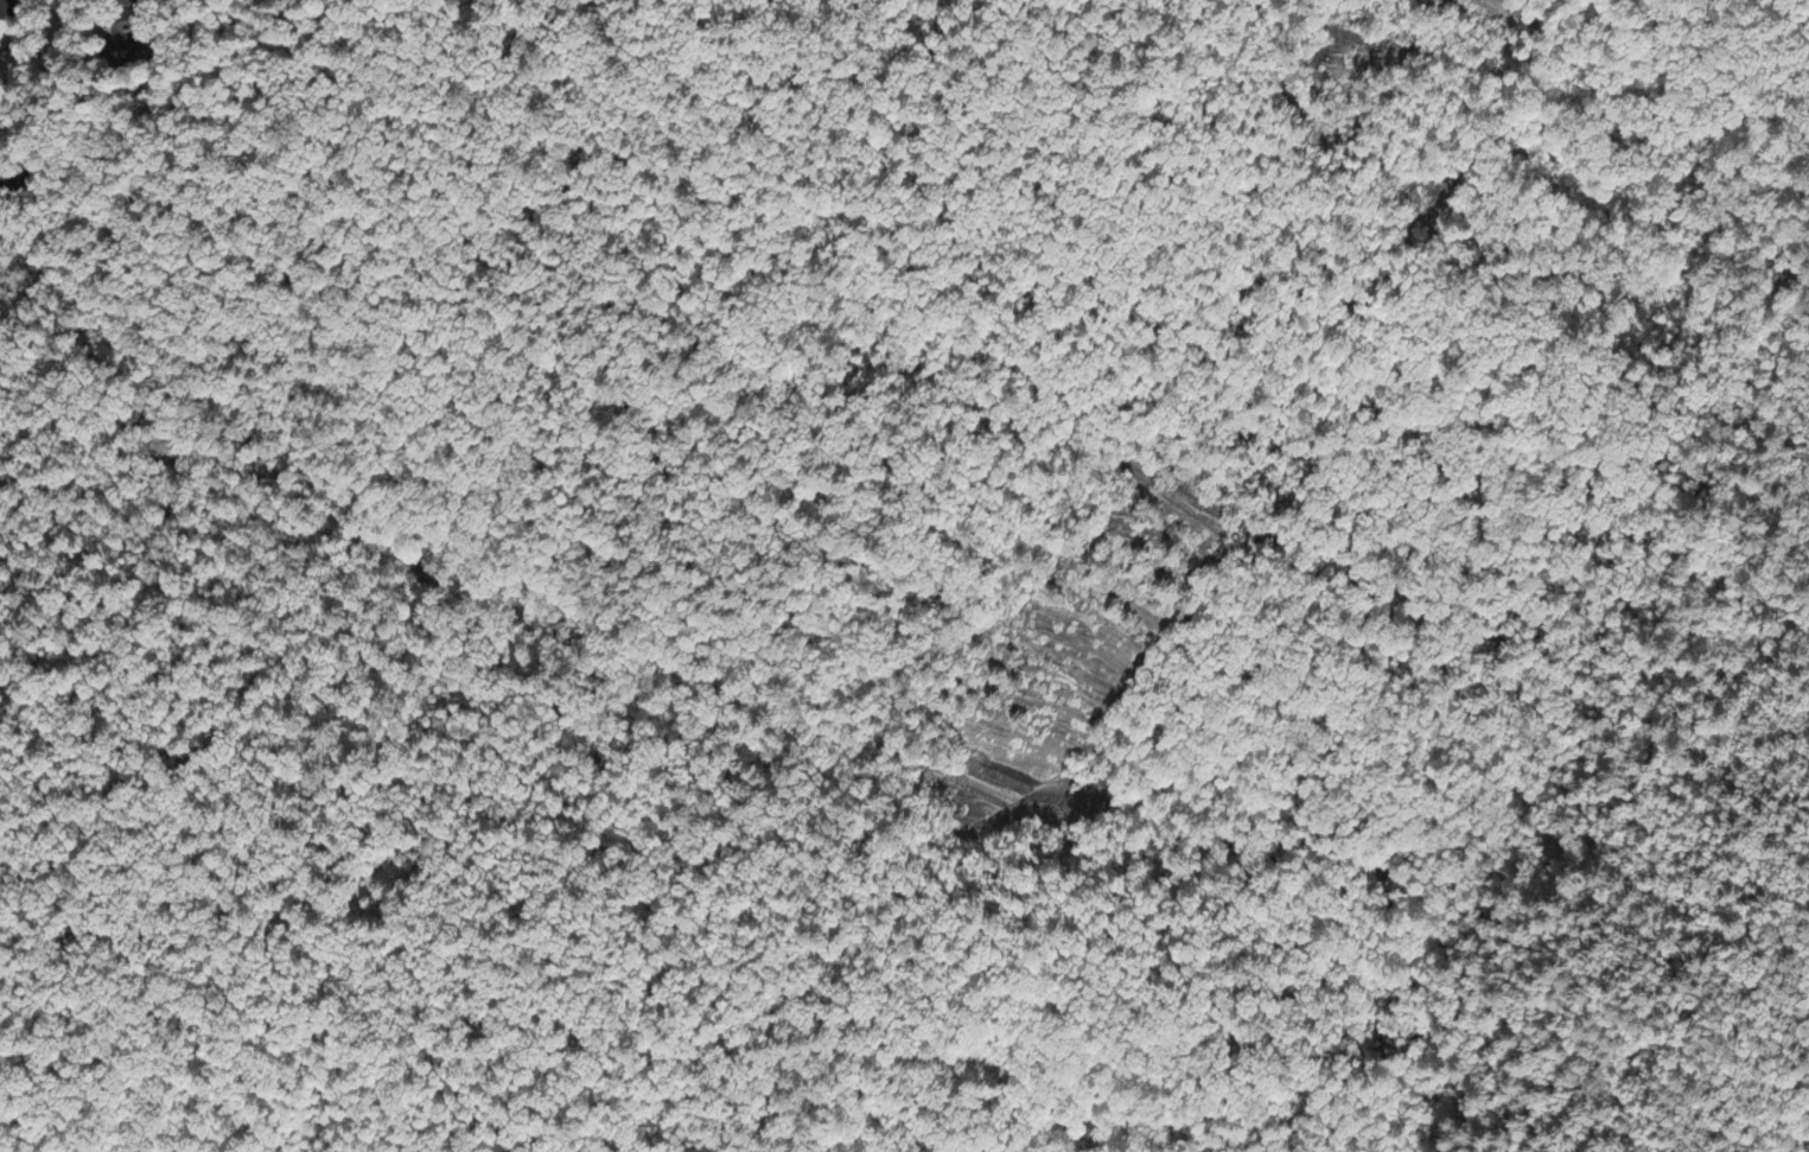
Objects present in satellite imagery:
building: (132, 15)
building: (136, 52)
road: (23, 61)
building: (14, 190)

